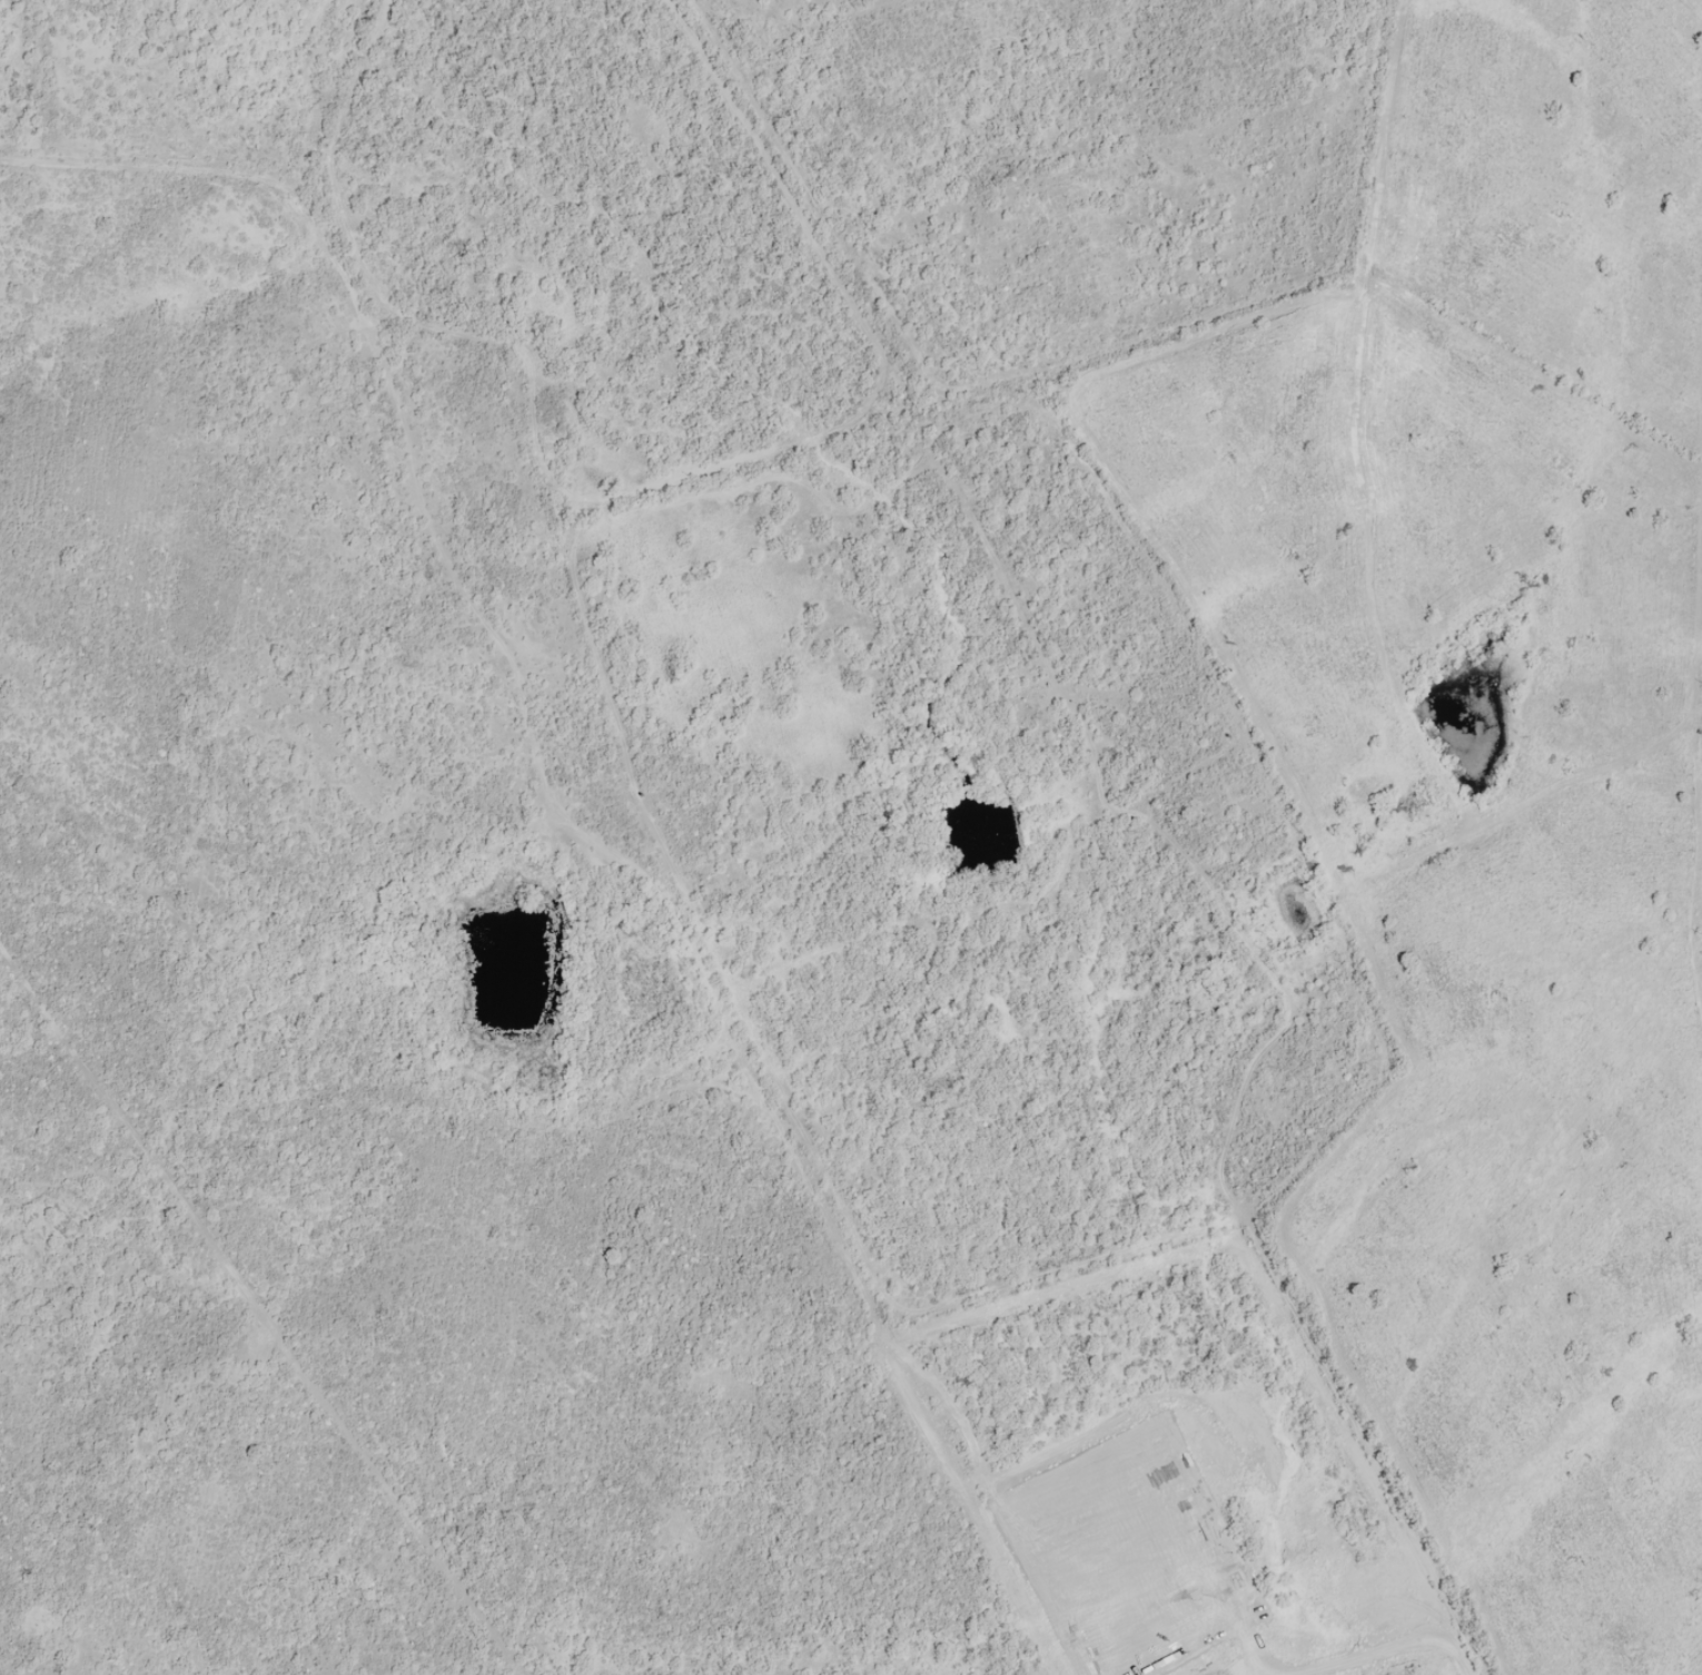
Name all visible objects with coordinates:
road: (1303, 10)
road: (243, 165)
road: (987, 355)
road: (642, 936)

